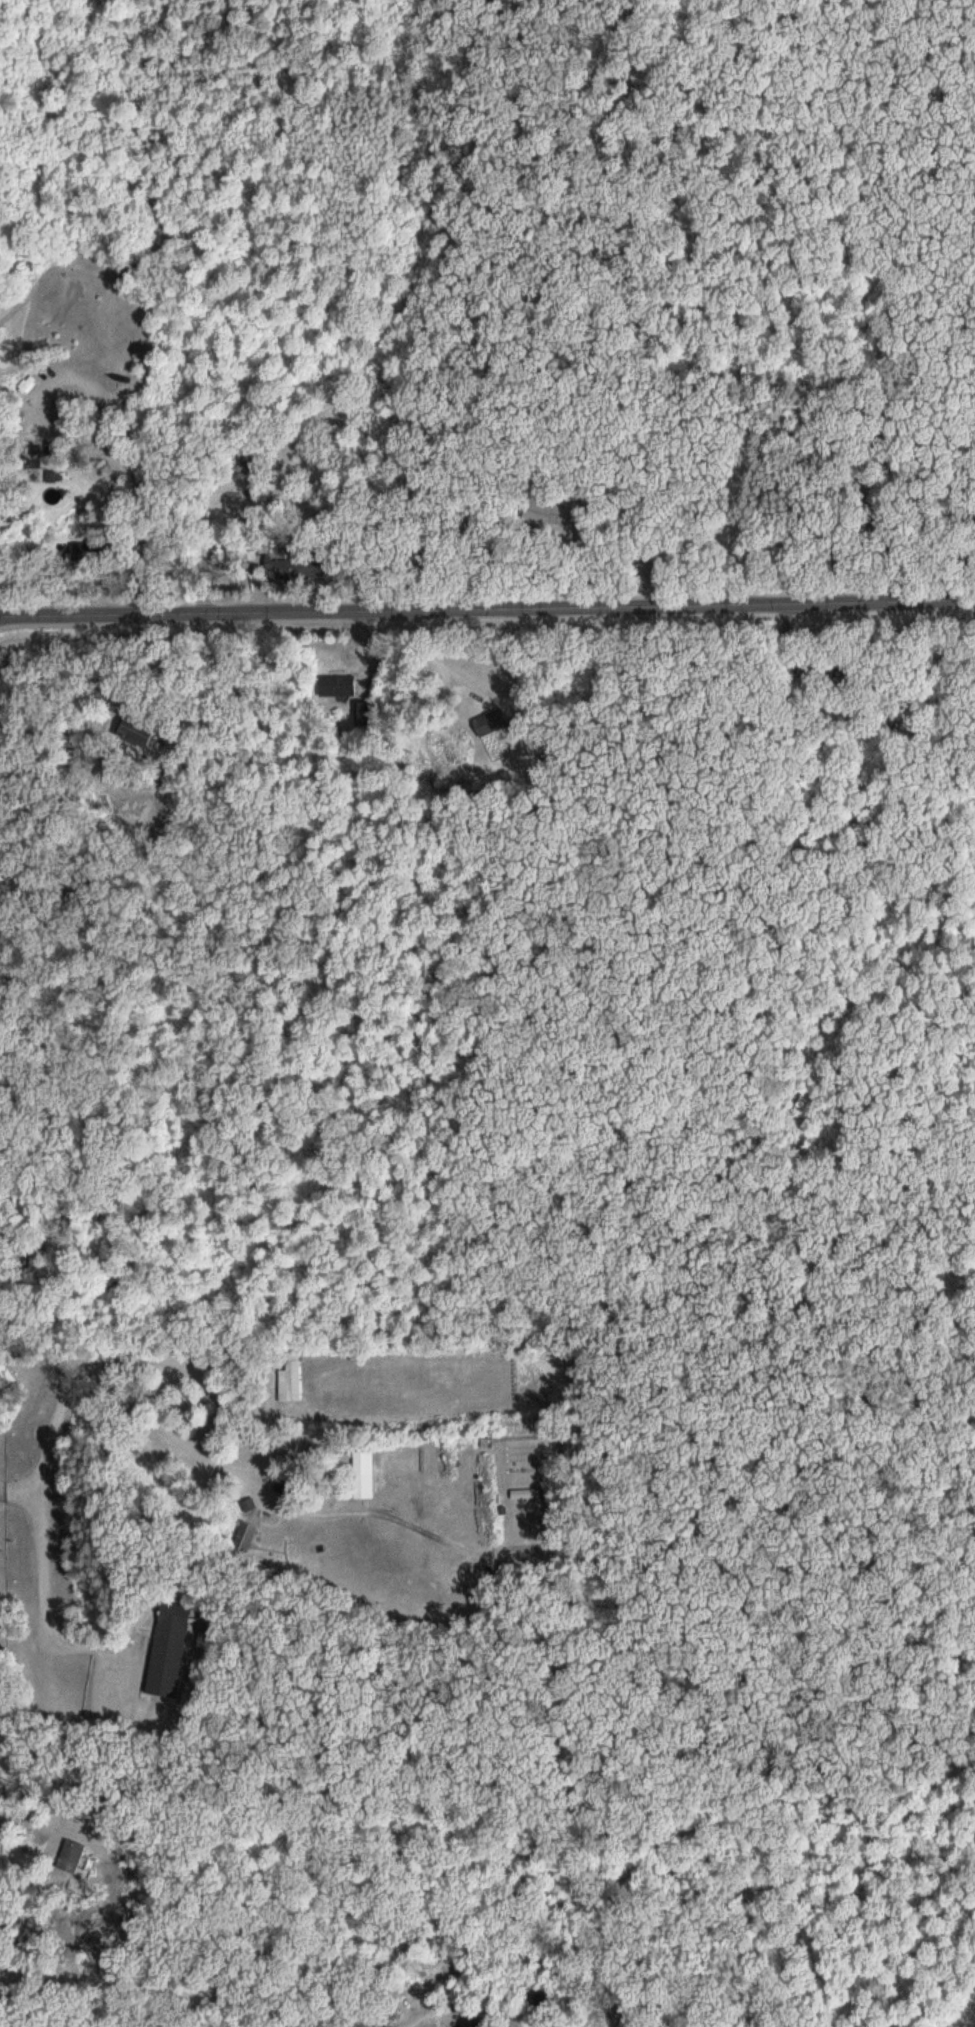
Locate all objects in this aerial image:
building: (244, 553)
road: (487, 609)
building: (295, 1379)
building: (366, 1475)
building: (246, 1537)
building: (169, 1654)
building: (477, 2026)

